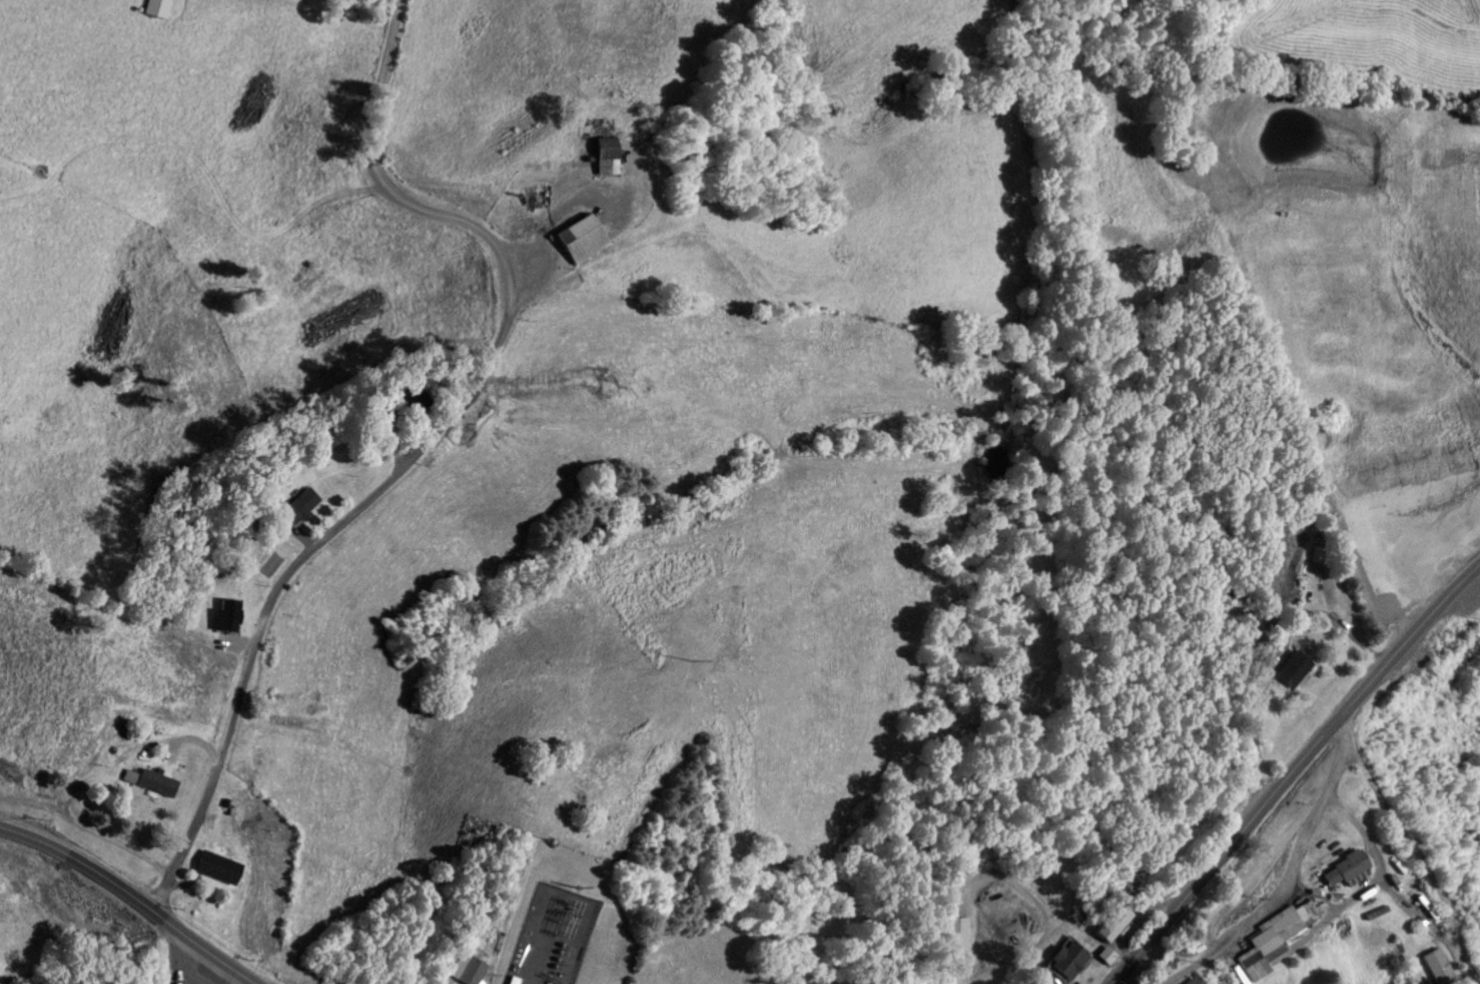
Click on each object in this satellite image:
building: (153, 9)
building: (596, 158)
building: (570, 242)
road: (447, 427)
building: (291, 509)
building: (220, 619)
building: (1289, 672)
road: (1293, 772)
building: (148, 786)
building: (212, 870)
building: (1341, 872)
road: (1293, 877)
road: (133, 896)
power substation: (550, 932)
building: (953, 937)
building: (1103, 959)
building: (1064, 962)
building: (1435, 969)
building: (463, 972)
building: (1190, 982)

